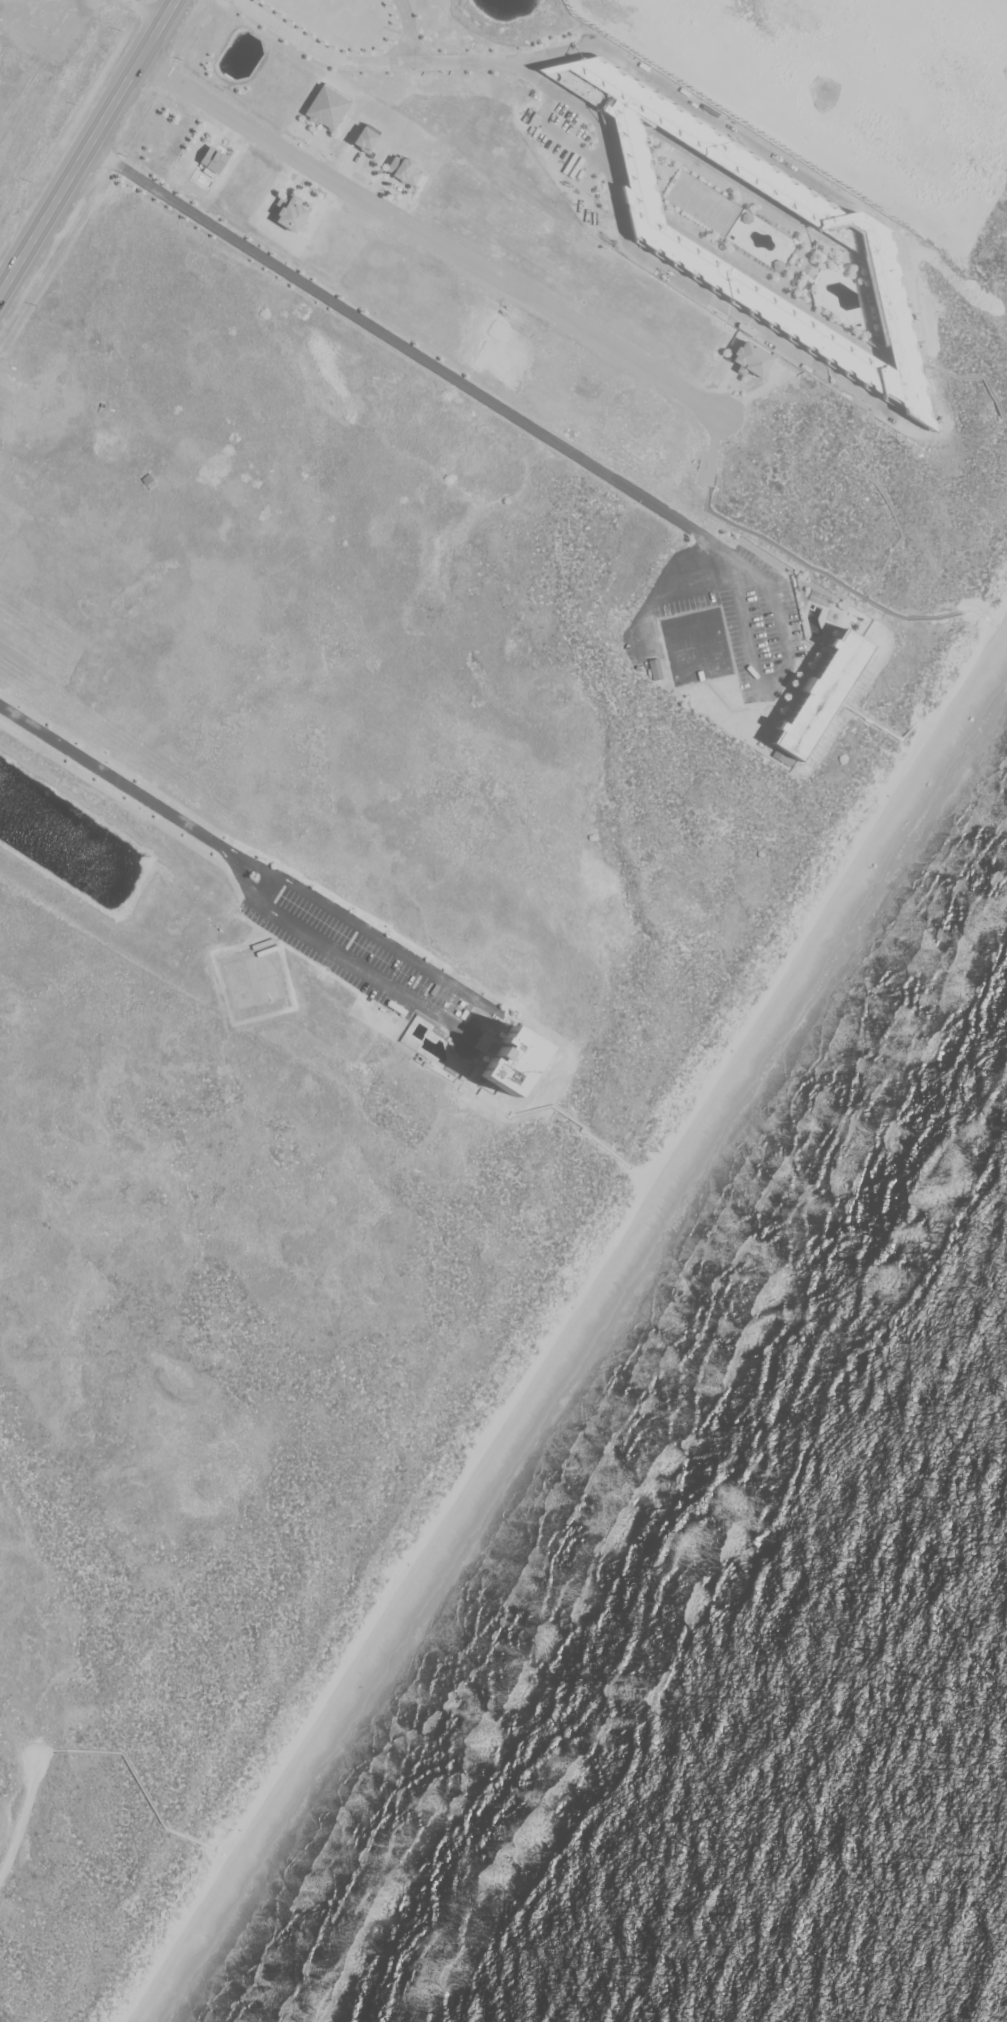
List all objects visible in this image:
road: (410, 31)
road: (413, 63)
building: (329, 108)
road: (87, 146)
building: (215, 161)
building: (406, 170)
building: (293, 214)
road: (431, 240)
building: (679, 249)
building: (755, 360)
road: (974, 377)
road: (542, 435)
building: (150, 482)
road: (694, 591)
building: (656, 669)
building: (820, 695)
road: (112, 776)
road: (265, 891)
parking lot: (356, 953)
park: (254, 981)
road: (473, 1023)
building: (519, 1062)
road: (571, 1317)

